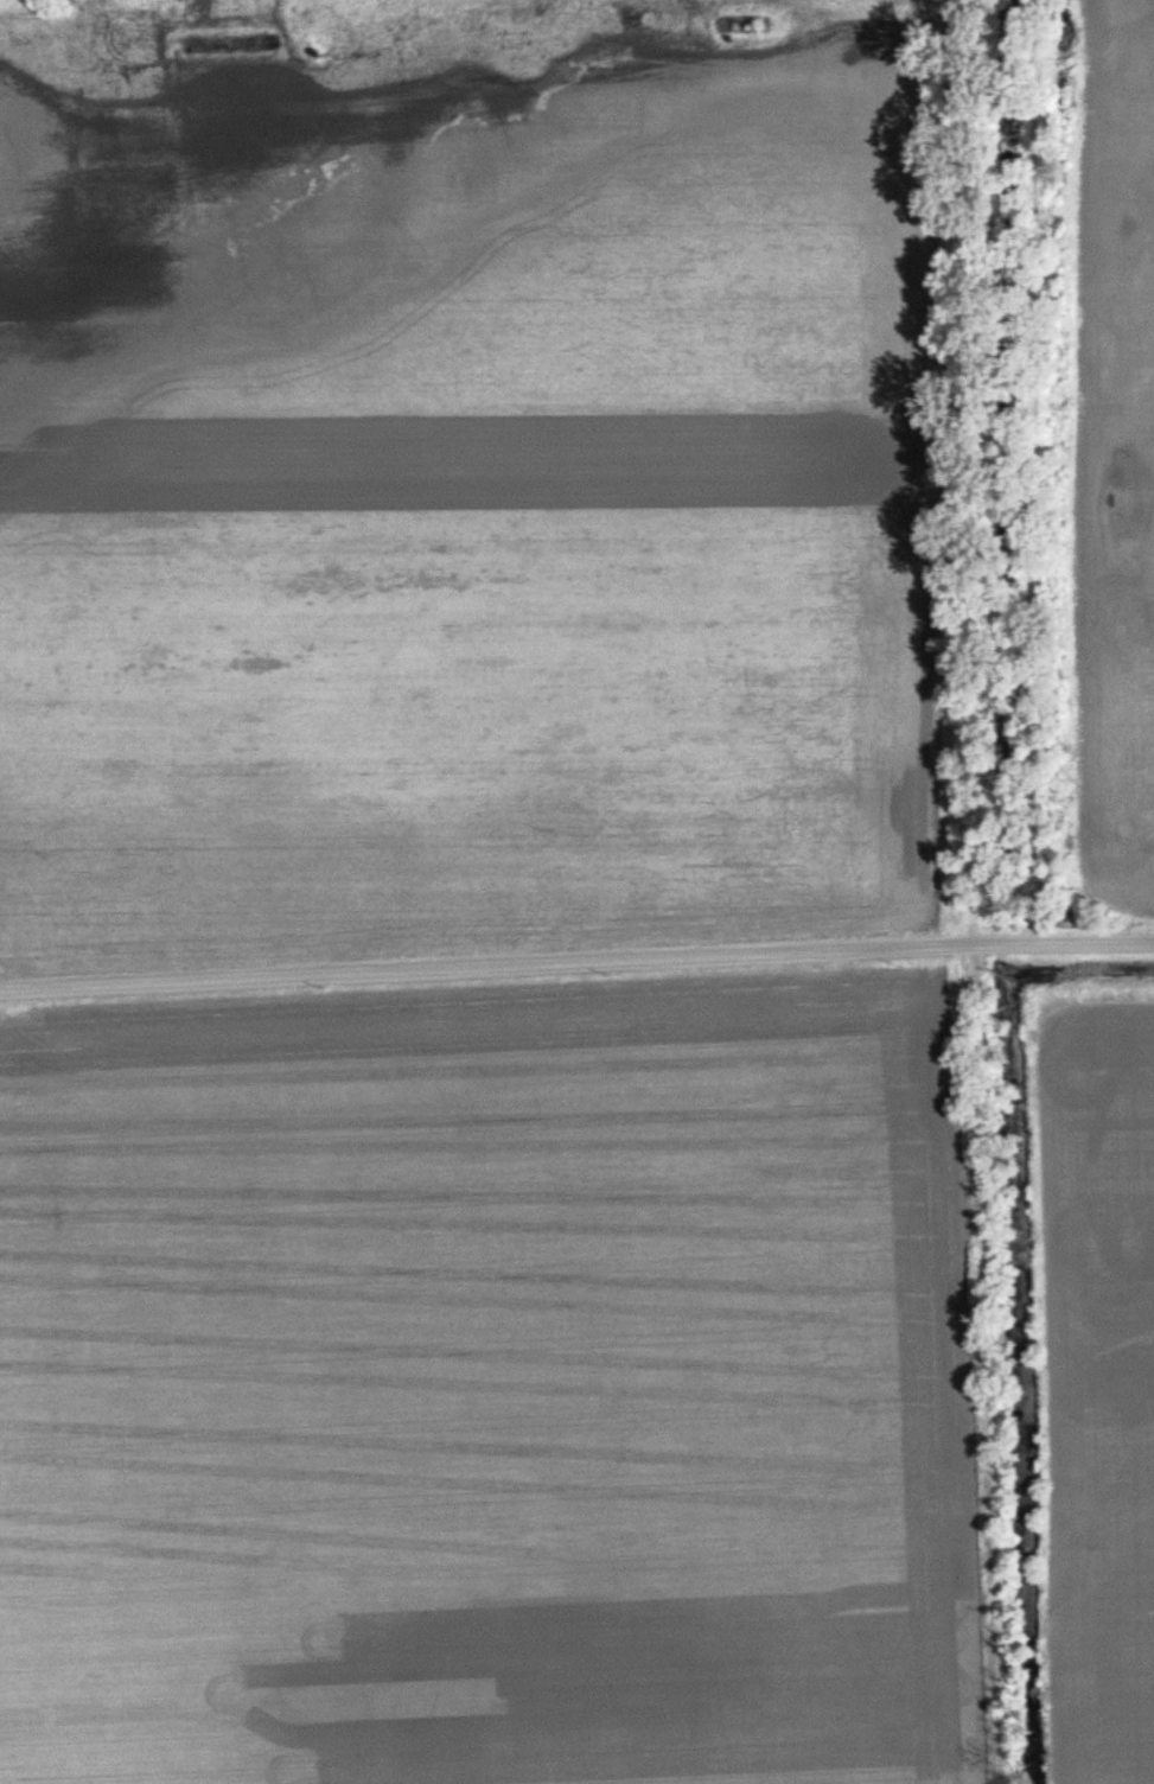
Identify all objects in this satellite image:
road: (1079, 945)
road: (502, 967)

